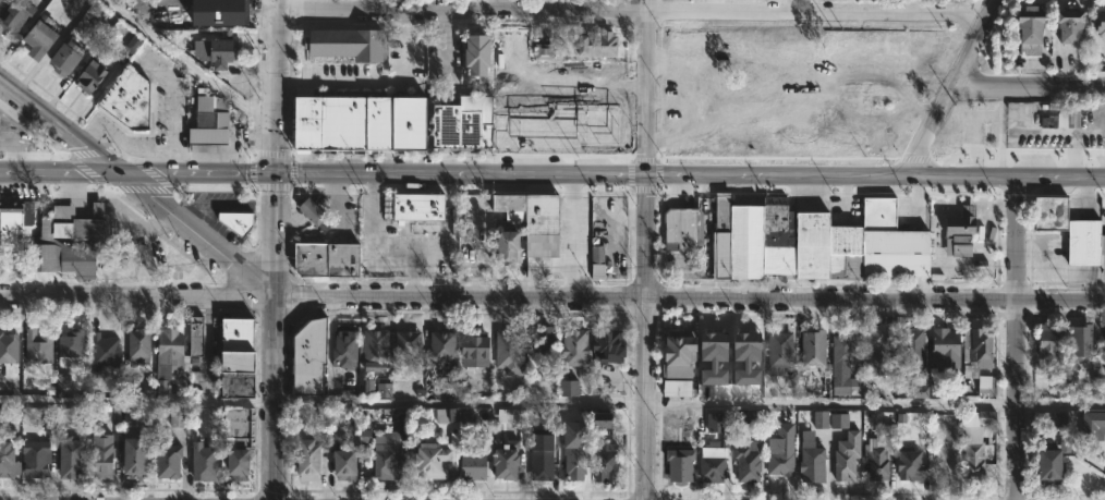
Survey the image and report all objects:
building: (1, 1)
road: (491, 5)
building: (25, 9)
road: (631, 11)
building: (218, 14)
building: (1097, 23)
building: (1064, 25)
building: (1024, 31)
building: (117, 35)
building: (41, 38)
building: (476, 46)
building: (603, 46)
building: (353, 50)
building: (544, 51)
building: (219, 53)
building: (511, 53)
building: (70, 60)
road: (189, 65)
building: (544, 76)
building: (600, 77)
building: (94, 78)
road: (373, 83)
road: (1028, 88)
road: (948, 90)
building: (133, 101)
building: (598, 107)
road: (173, 113)
building: (1060, 115)
building: (365, 121)
building: (469, 122)
building: (212, 123)
traffic signals: (274, 173)
traffic signals: (129, 176)
road: (551, 178)
road: (141, 186)
building: (423, 205)
road: (224, 206)
building: (315, 211)
building: (536, 218)
building: (240, 220)
building: (81, 222)
building: (685, 228)
building: (1067, 229)
building: (957, 230)
building: (39, 242)
building: (809, 242)
building: (510, 245)
road: (275, 249)
road: (646, 249)
building: (331, 258)
building: (599, 259)
road: (551, 304)
building: (198, 336)
building: (544, 338)
building: (1103, 339)
road: (1017, 340)
building: (1045, 340)
building: (410, 343)
building: (141, 344)
building: (612, 344)
building: (39, 345)
building: (446, 345)
building: (1080, 345)
building: (378, 346)
building: (875, 346)
building: (9, 347)
building: (579, 347)
building: (750, 347)
building: (816, 347)
building: (74, 349)
building: (478, 349)
building: (910, 349)
building: (943, 349)
building: (973, 349)
building: (347, 350)
building: (717, 350)
building: (105, 351)
building: (512, 352)
building: (779, 352)
building: (172, 353)
building: (313, 356)
building: (240, 357)
building: (841, 366)
building: (673, 367)
building: (984, 383)
building: (919, 385)
building: (368, 387)
building: (151, 388)
building: (568, 388)
building: (935, 389)
building: (384, 390)
building: (957, 391)
road: (552, 404)
building: (447, 415)
building: (518, 415)
building: (744, 417)
building: (178, 418)
building: (332, 418)
building: (821, 418)
building: (602, 419)
building: (1049, 419)
building: (839, 420)
building: (718, 422)
building: (1090, 425)
building: (365, 435)
building: (970, 441)
building: (136, 446)
building: (779, 450)
building: (394, 451)
building: (875, 453)
building: (105, 455)
building: (37, 458)
building: (510, 458)
building: (72, 459)
building: (809, 459)
building: (10, 460)
building: (173, 460)
building: (437, 460)
building: (751, 460)
building: (206, 461)
building: (313, 461)
building: (578, 461)
building: (711, 462)
building: (242, 463)
building: (350, 463)
building: (545, 463)
building: (609, 463)
building: (679, 463)
building: (1047, 463)
building: (841, 464)
building: (907, 464)
building: (477, 465)

